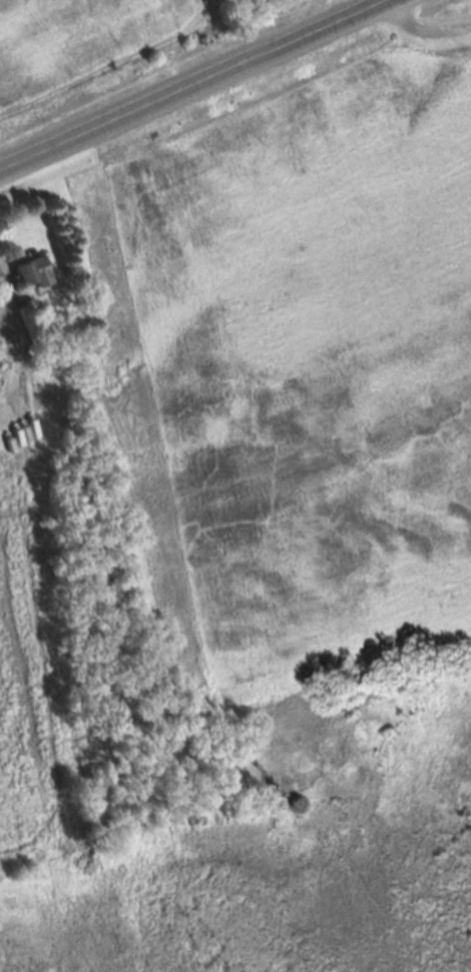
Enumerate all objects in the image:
road: (422, 32)
road: (193, 85)
building: (32, 280)
building: (5, 361)

